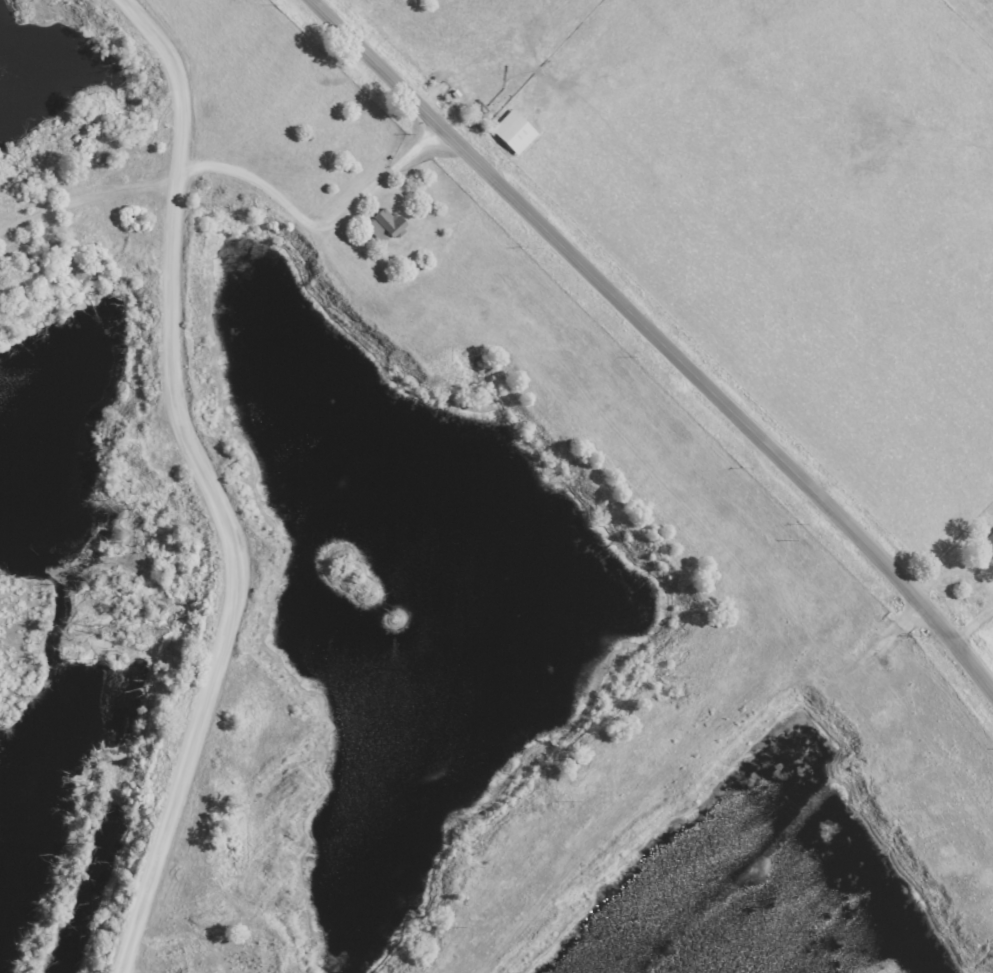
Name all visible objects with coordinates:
building: (508, 129)
building: (382, 226)
road: (256, 328)
road: (657, 339)
building: (987, 545)
road: (977, 636)
road: (771, 759)

